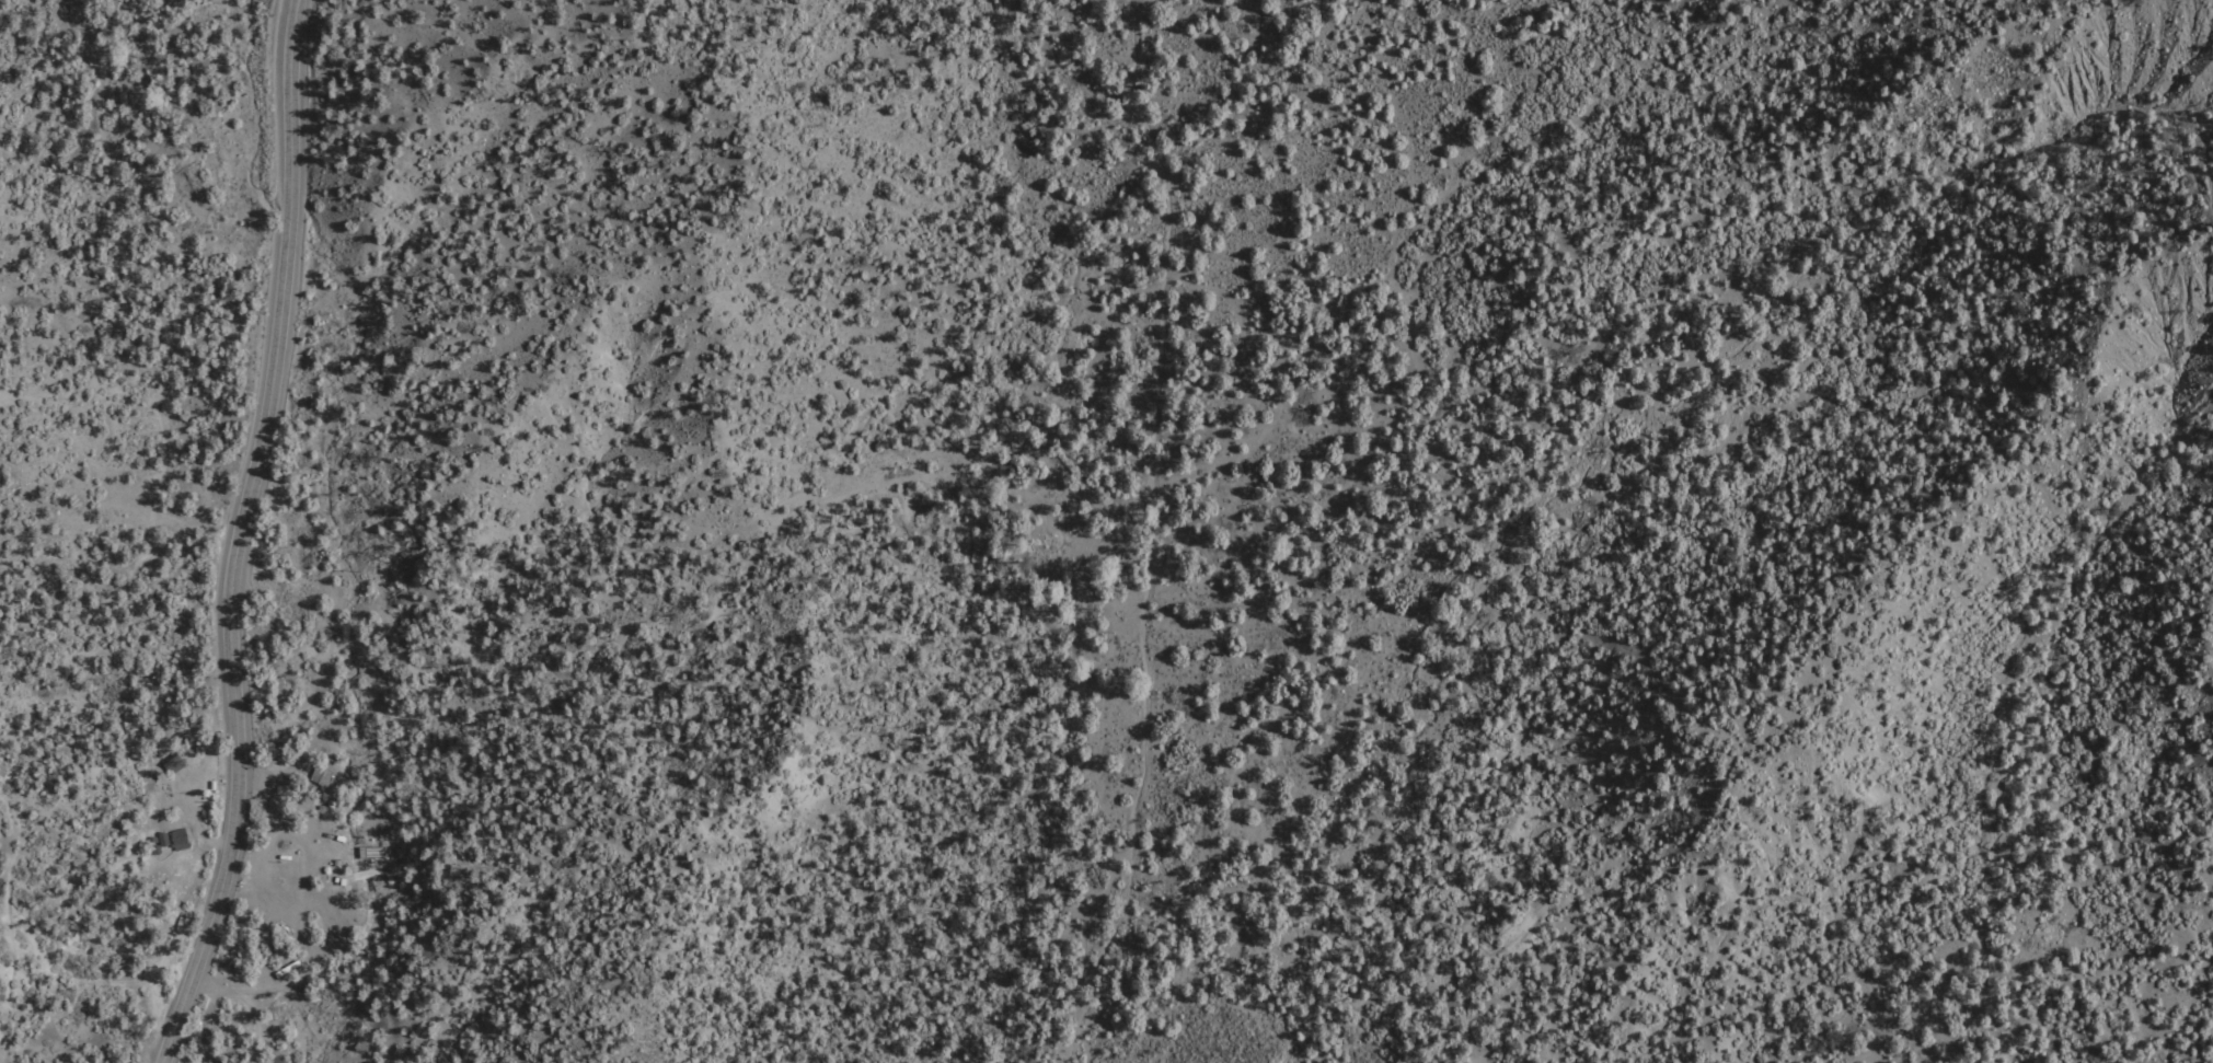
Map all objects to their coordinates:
road: (1164, 419)
road: (231, 534)
building: (178, 837)

